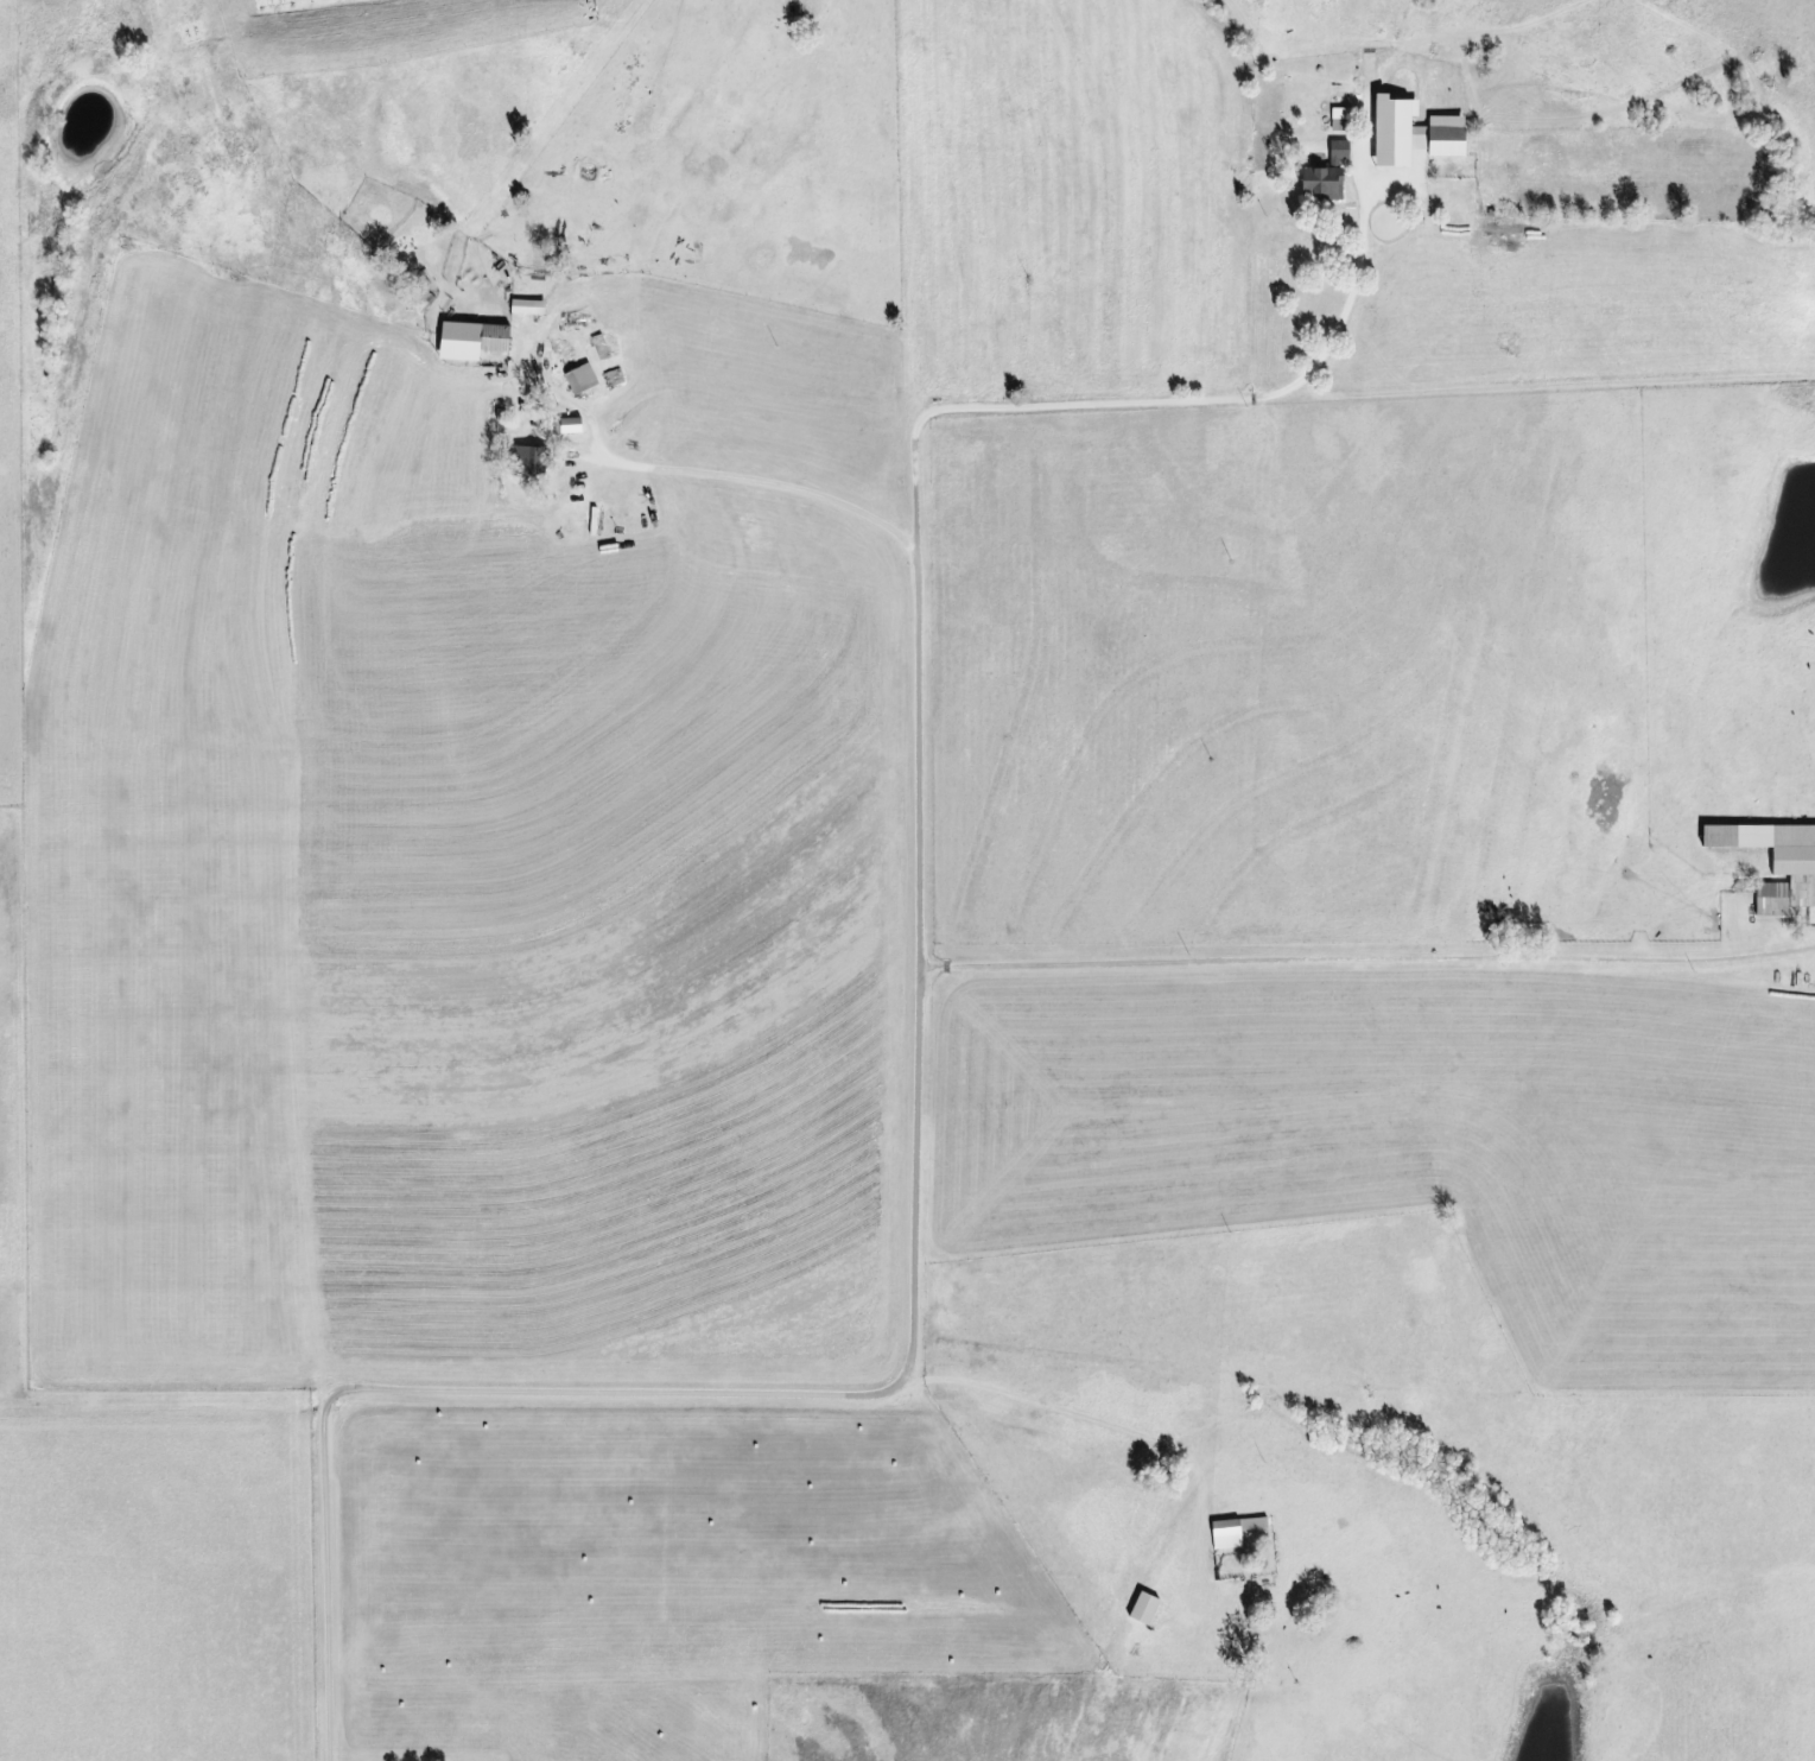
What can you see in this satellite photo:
building: (1415, 132)
building: (1327, 179)
building: (528, 306)
building: (474, 340)
building: (582, 379)
road: (1213, 399)
building: (572, 425)
building: (528, 461)
road: (709, 479)
road: (1350, 963)
road: (908, 1375)
building: (1235, 1531)
building: (1146, 1608)

